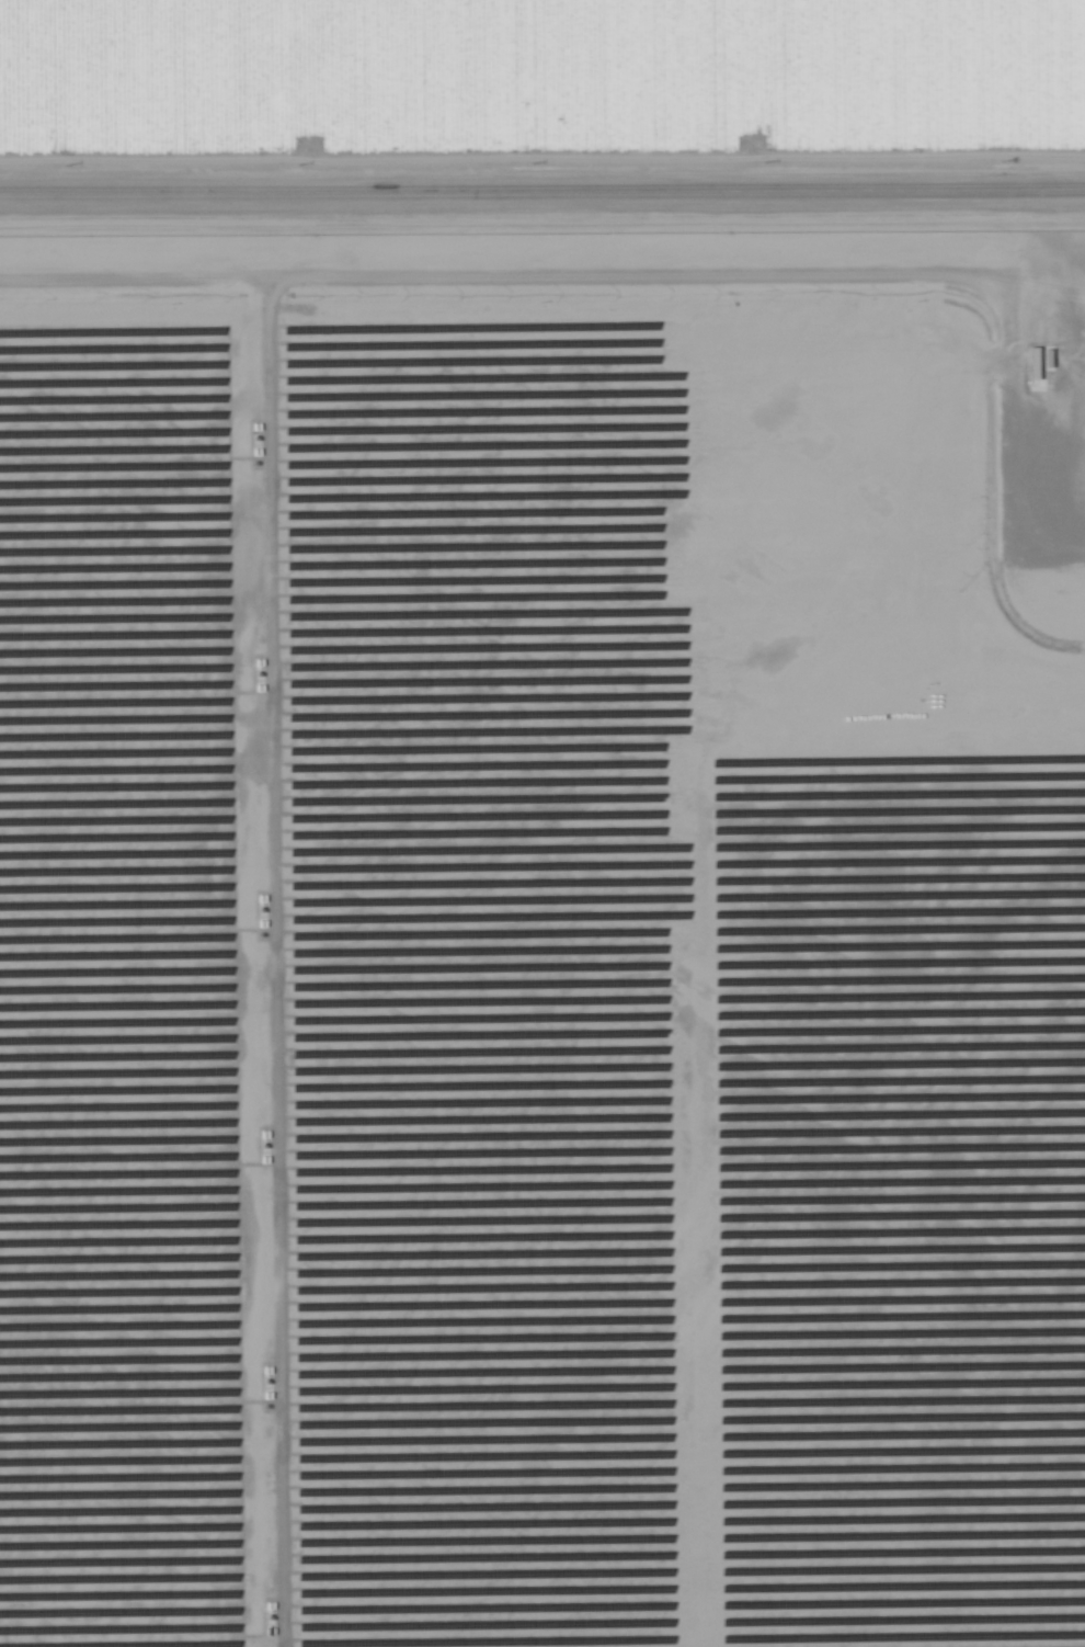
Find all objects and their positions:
crop: (539, 86)
road: (541, 198)
building: (1042, 365)
solar farm: (542, 943)

